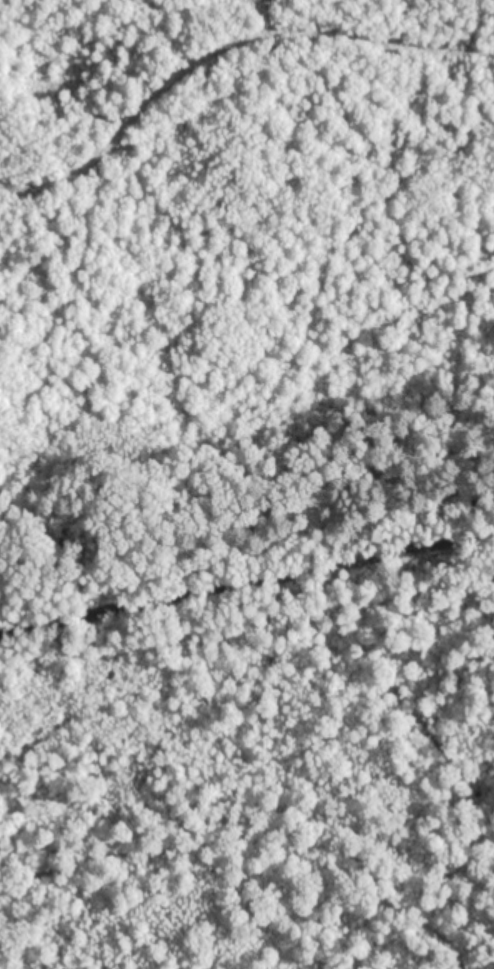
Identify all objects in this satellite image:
road: (224, 45)
road: (247, 585)
park: (245, 601)

